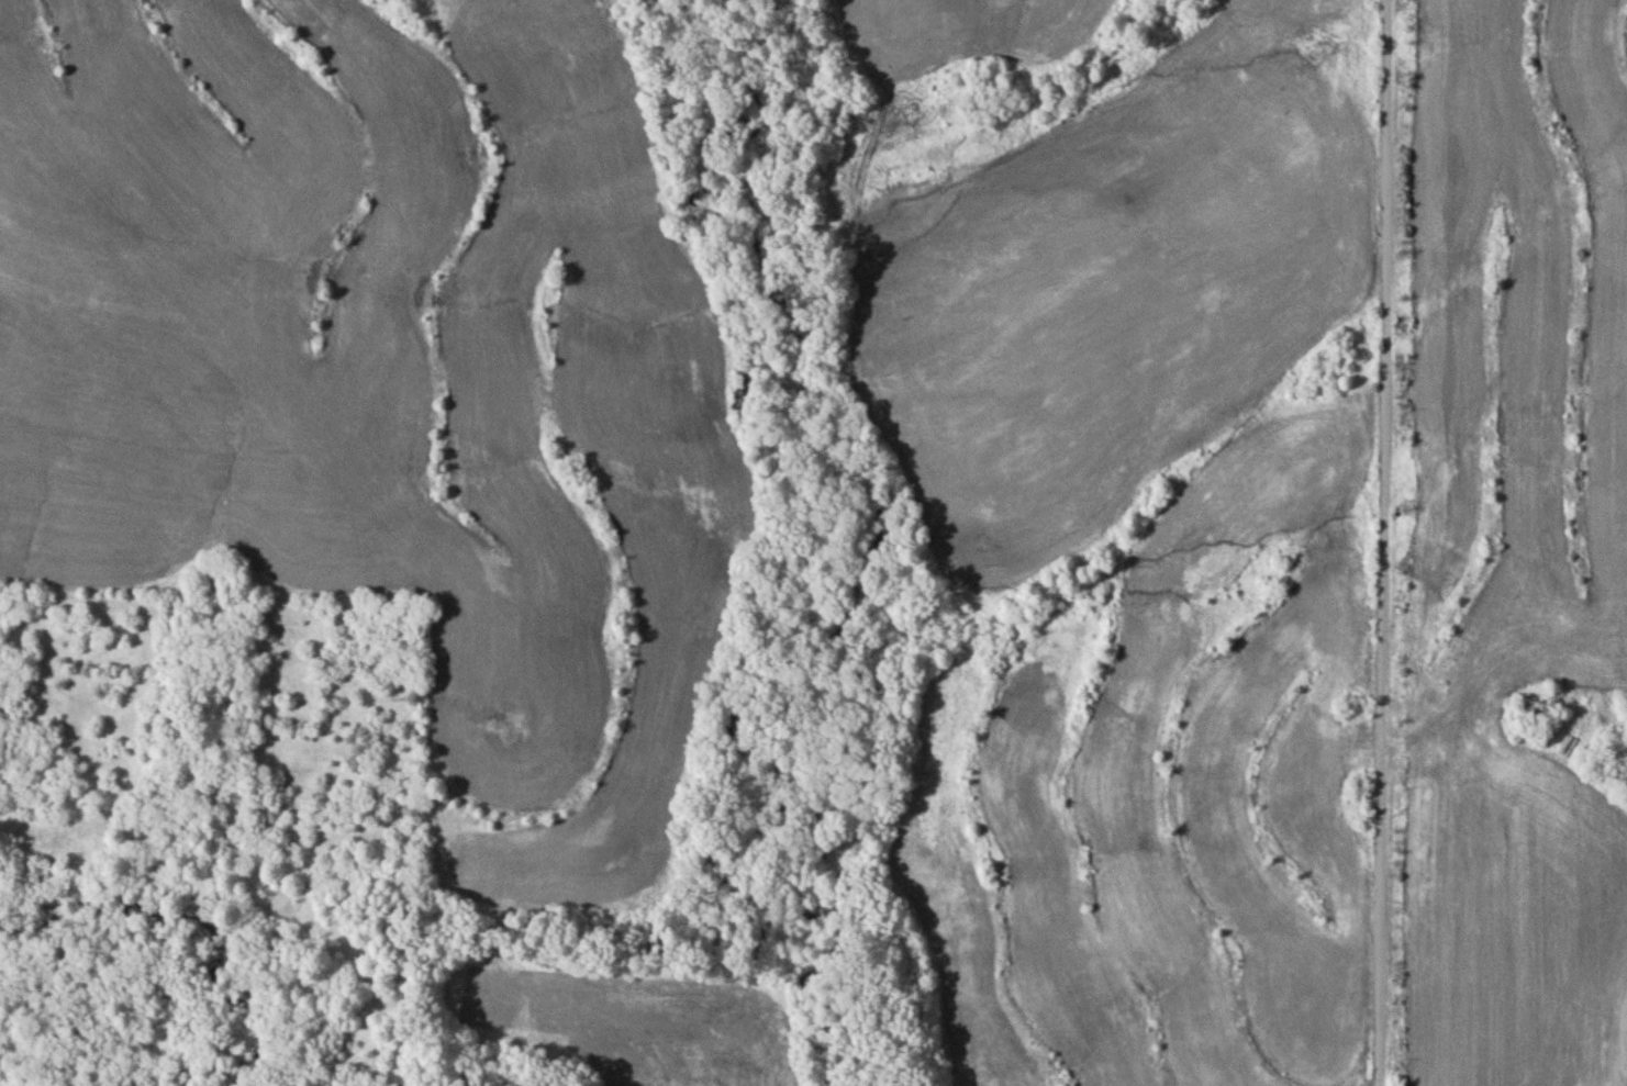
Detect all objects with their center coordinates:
road: (1389, 542)

